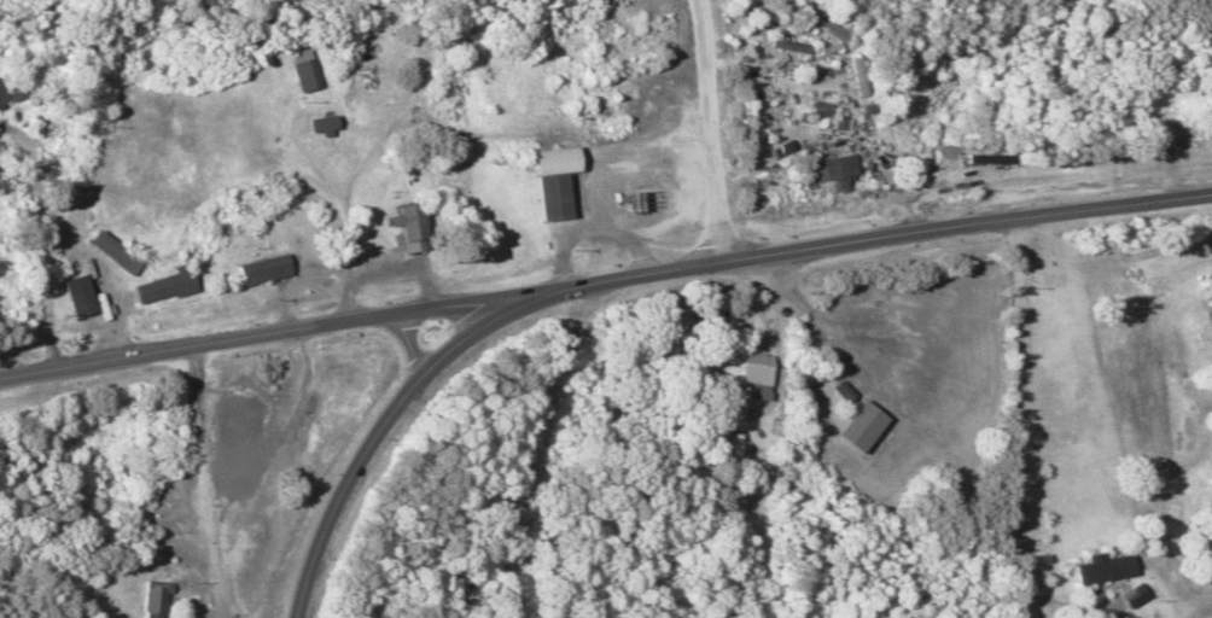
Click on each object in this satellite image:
building: (298, 70)
building: (372, 72)
building: (4, 89)
building: (610, 100)
building: (822, 110)
building: (321, 123)
building: (1146, 126)
road: (717, 129)
building: (907, 140)
building: (835, 168)
building: (549, 182)
building: (403, 226)
building: (106, 252)
building: (258, 269)
road: (666, 269)
building: (156, 286)
building: (66, 295)
road: (274, 334)
road: (410, 344)
building: (747, 361)
building: (849, 425)
building: (1095, 569)
building: (1126, 594)
building: (147, 599)

